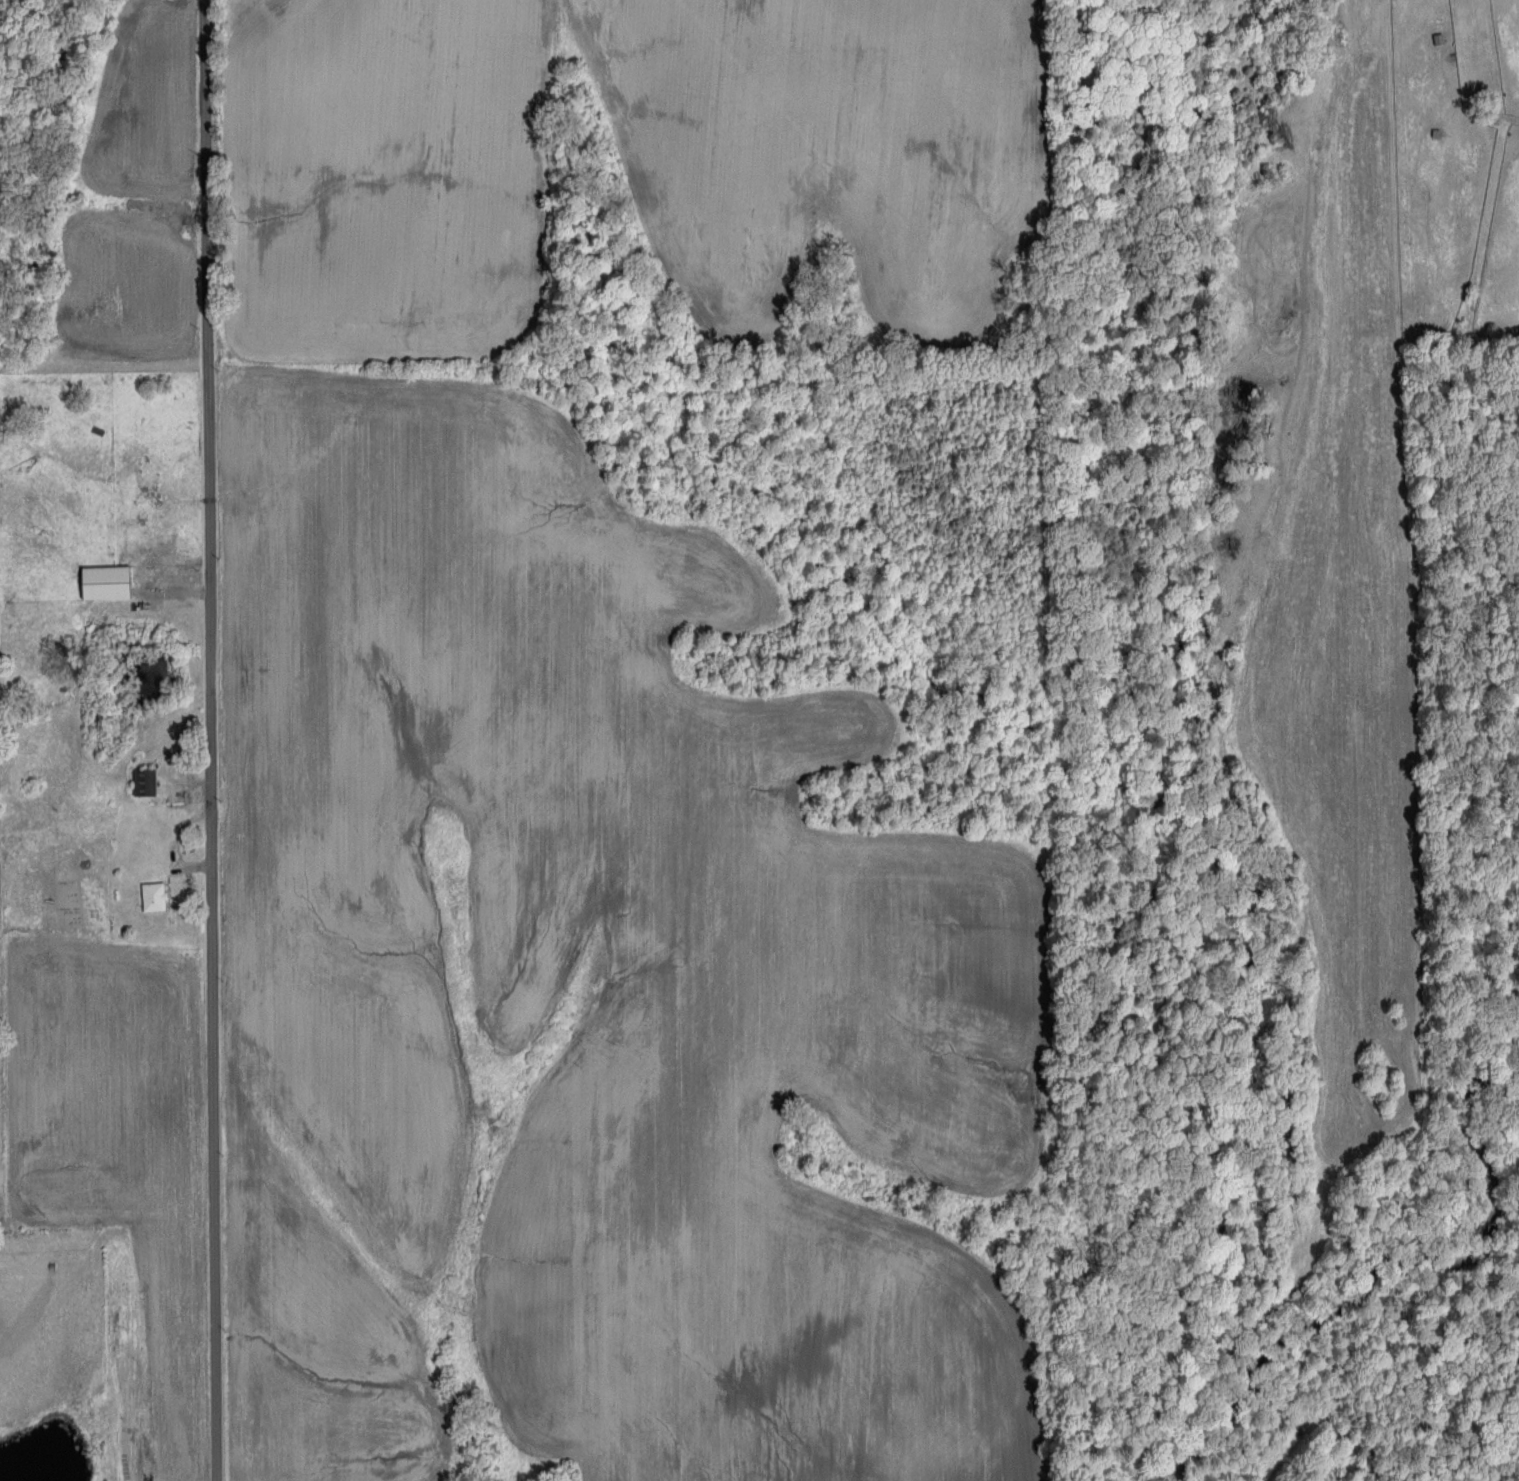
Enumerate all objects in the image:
building: (109, 580)
road: (211, 740)
building: (145, 780)
building: (155, 895)

